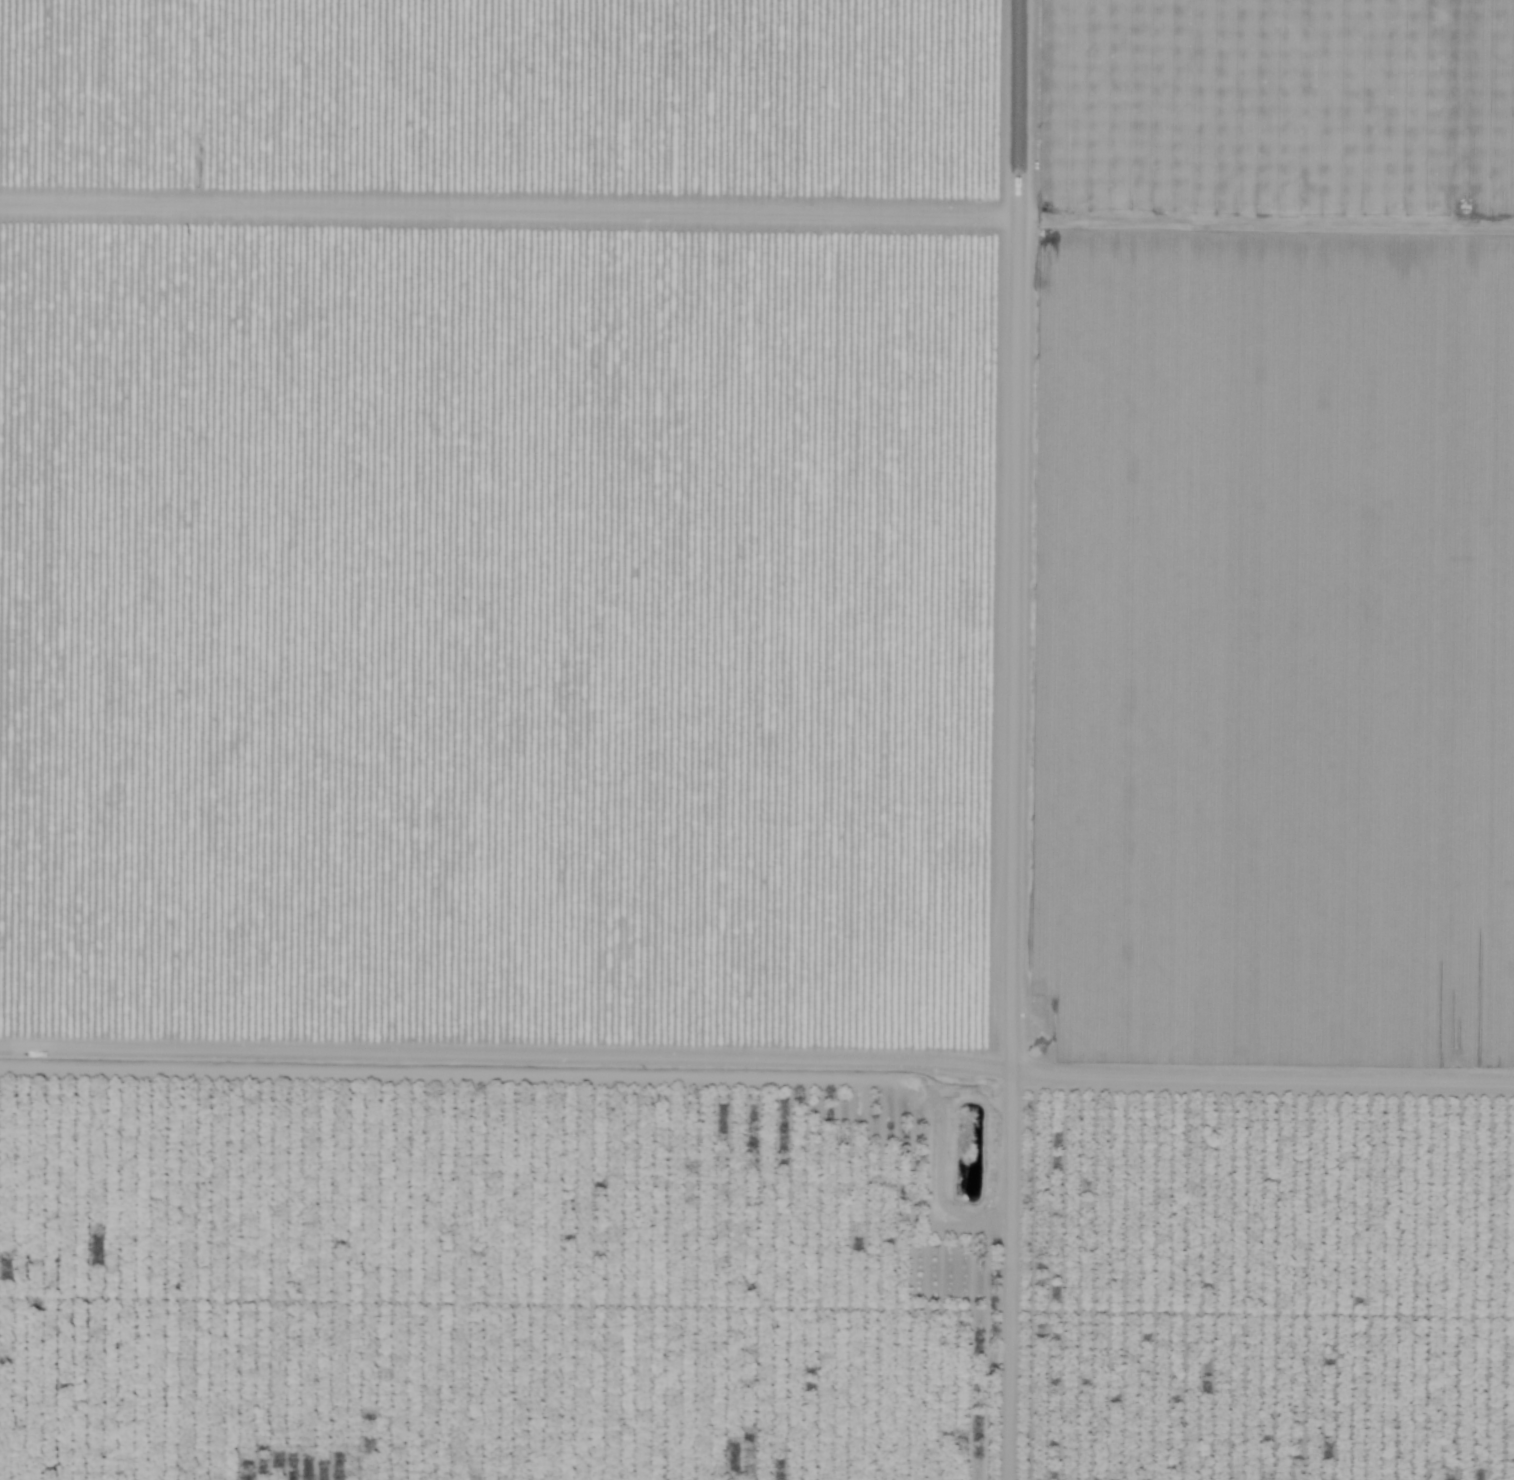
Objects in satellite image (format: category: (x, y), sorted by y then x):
crop: (1285, 510)
road: (1053, 740)

